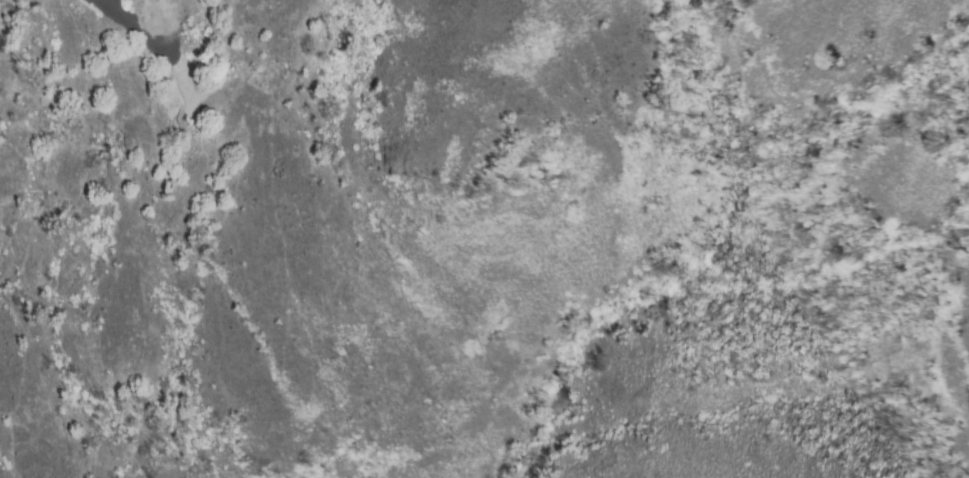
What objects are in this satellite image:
road: (109, 10)

